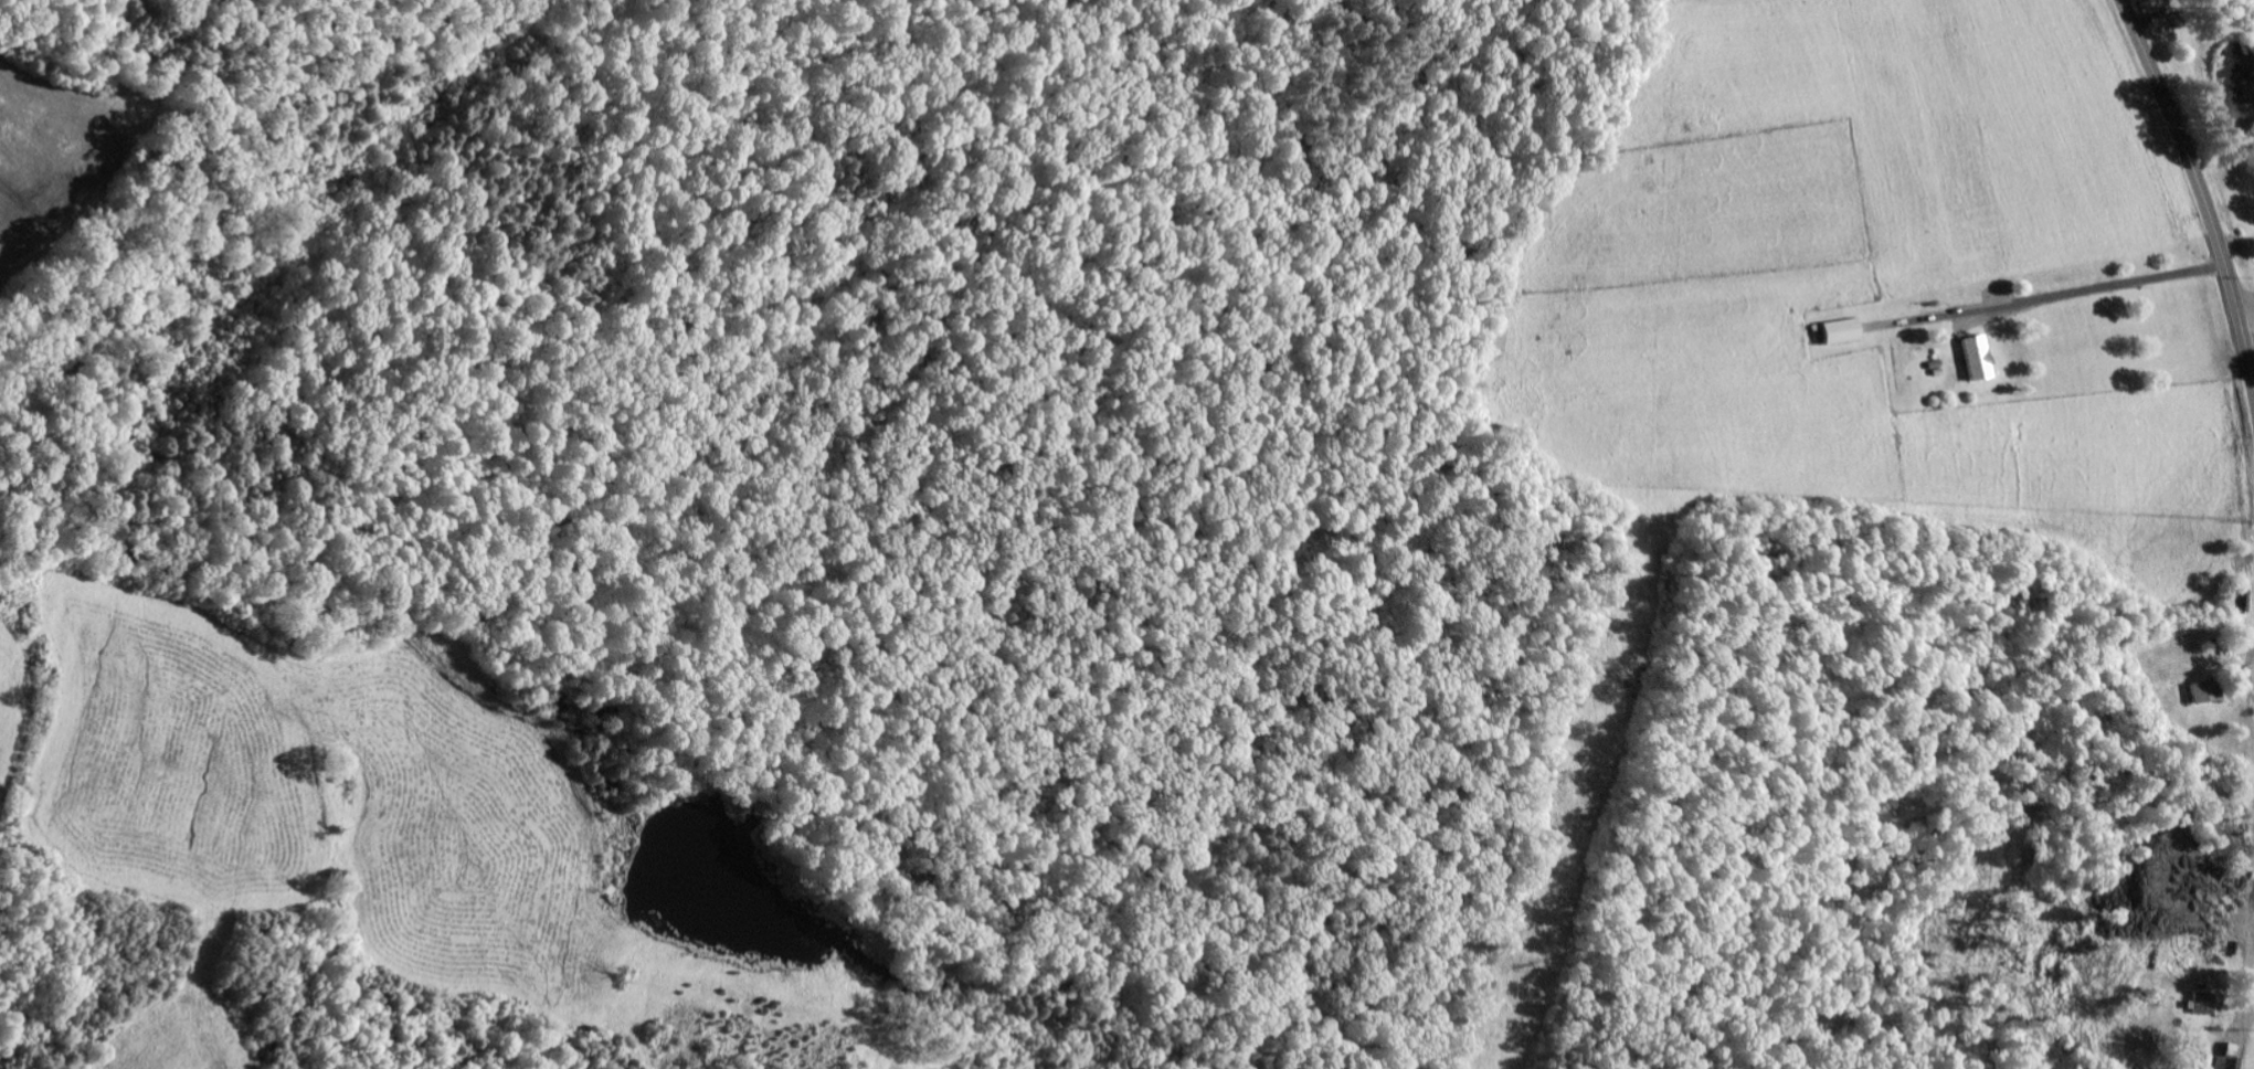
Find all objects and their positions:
road: (2200, 186)
building: (1837, 330)
building: (1971, 357)
building: (2202, 691)
building: (2197, 1003)
building: (2223, 1063)

